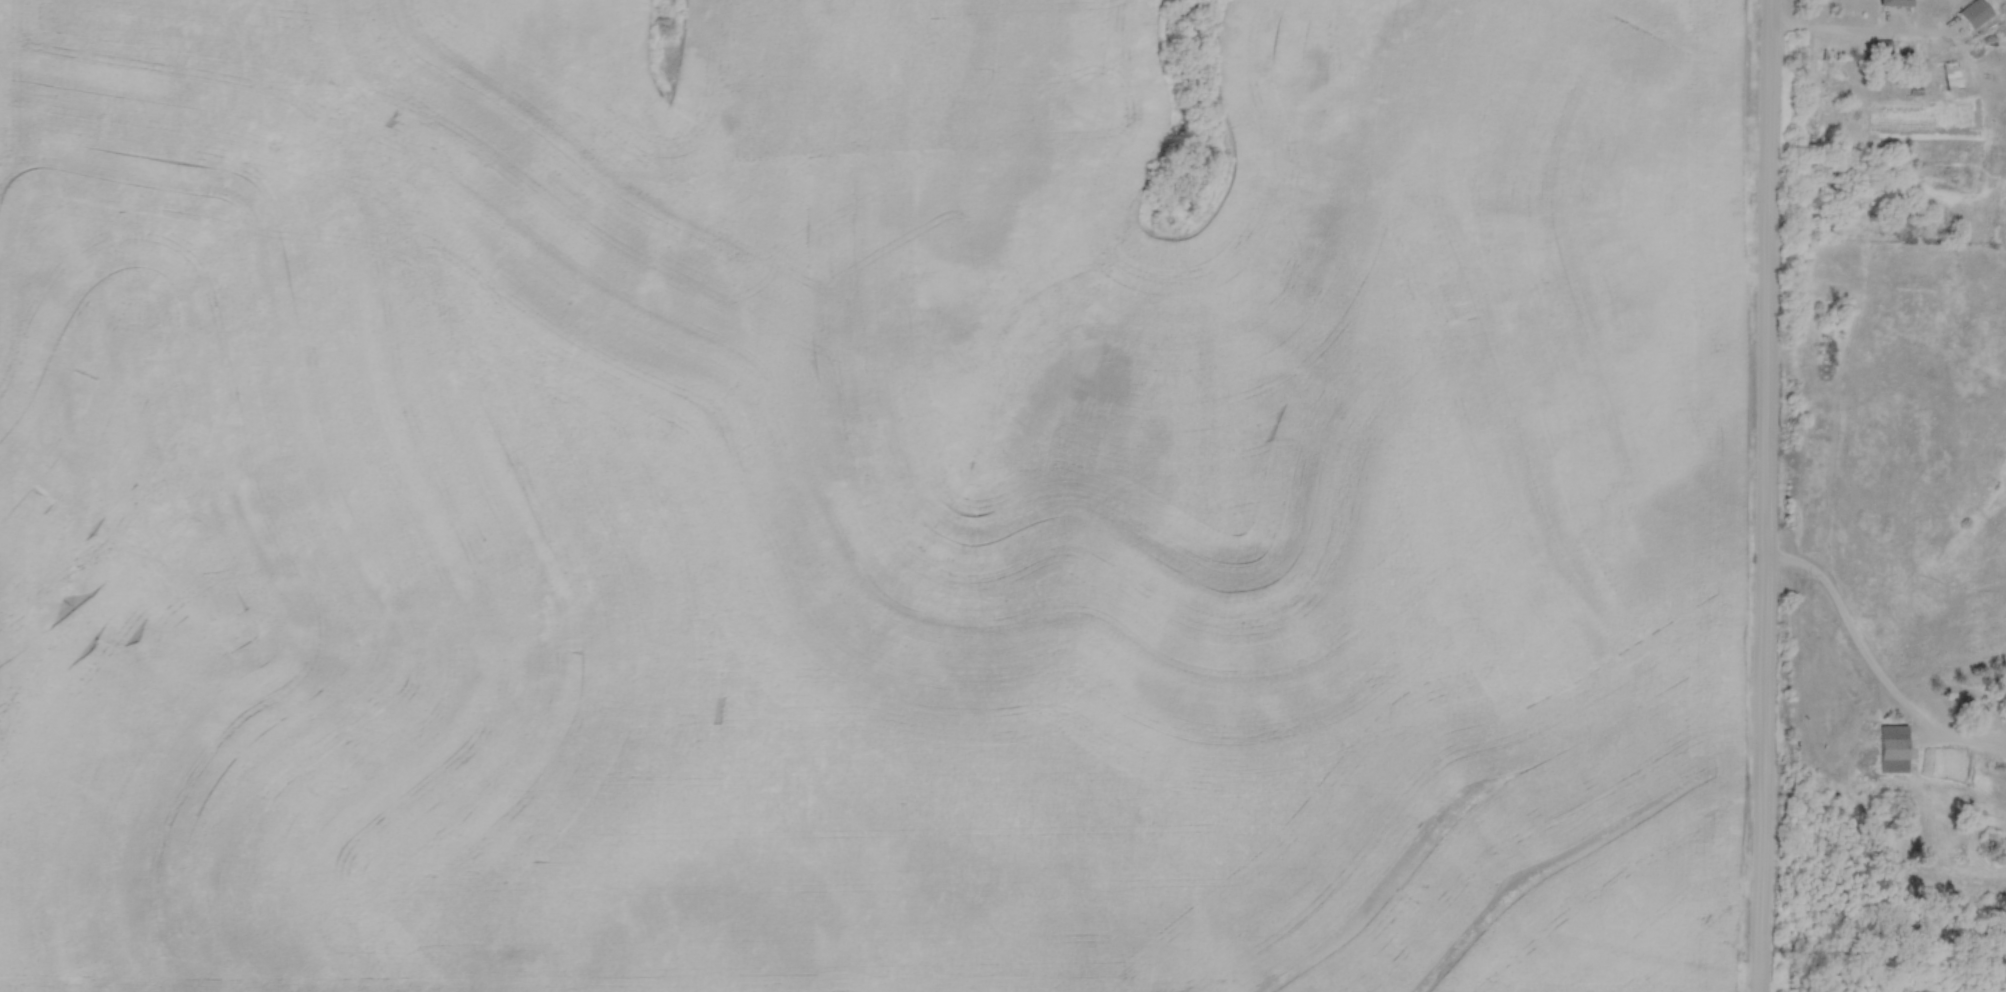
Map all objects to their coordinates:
building: (1893, 3)
building: (1975, 14)
road: (1834, 23)
building: (1880, 48)
road: (1764, 495)
road: (1875, 656)
building: (1893, 749)

